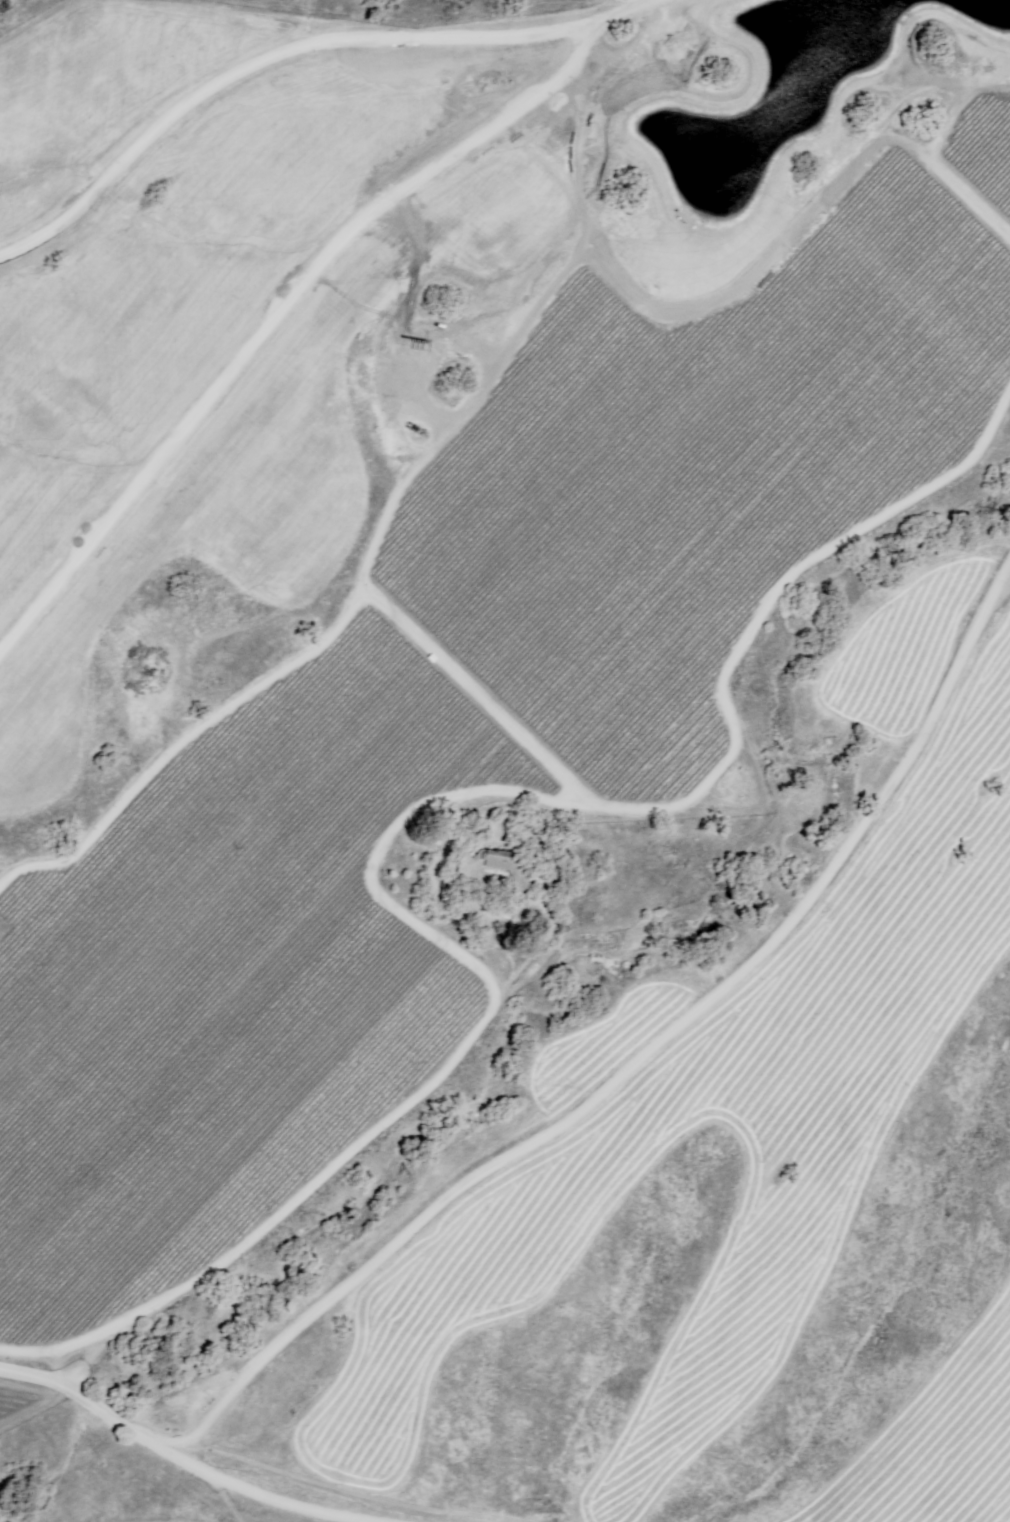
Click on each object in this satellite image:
road: (298, 286)
building: (494, 864)
road: (636, 1059)
road: (303, 1180)
road: (184, 1460)

